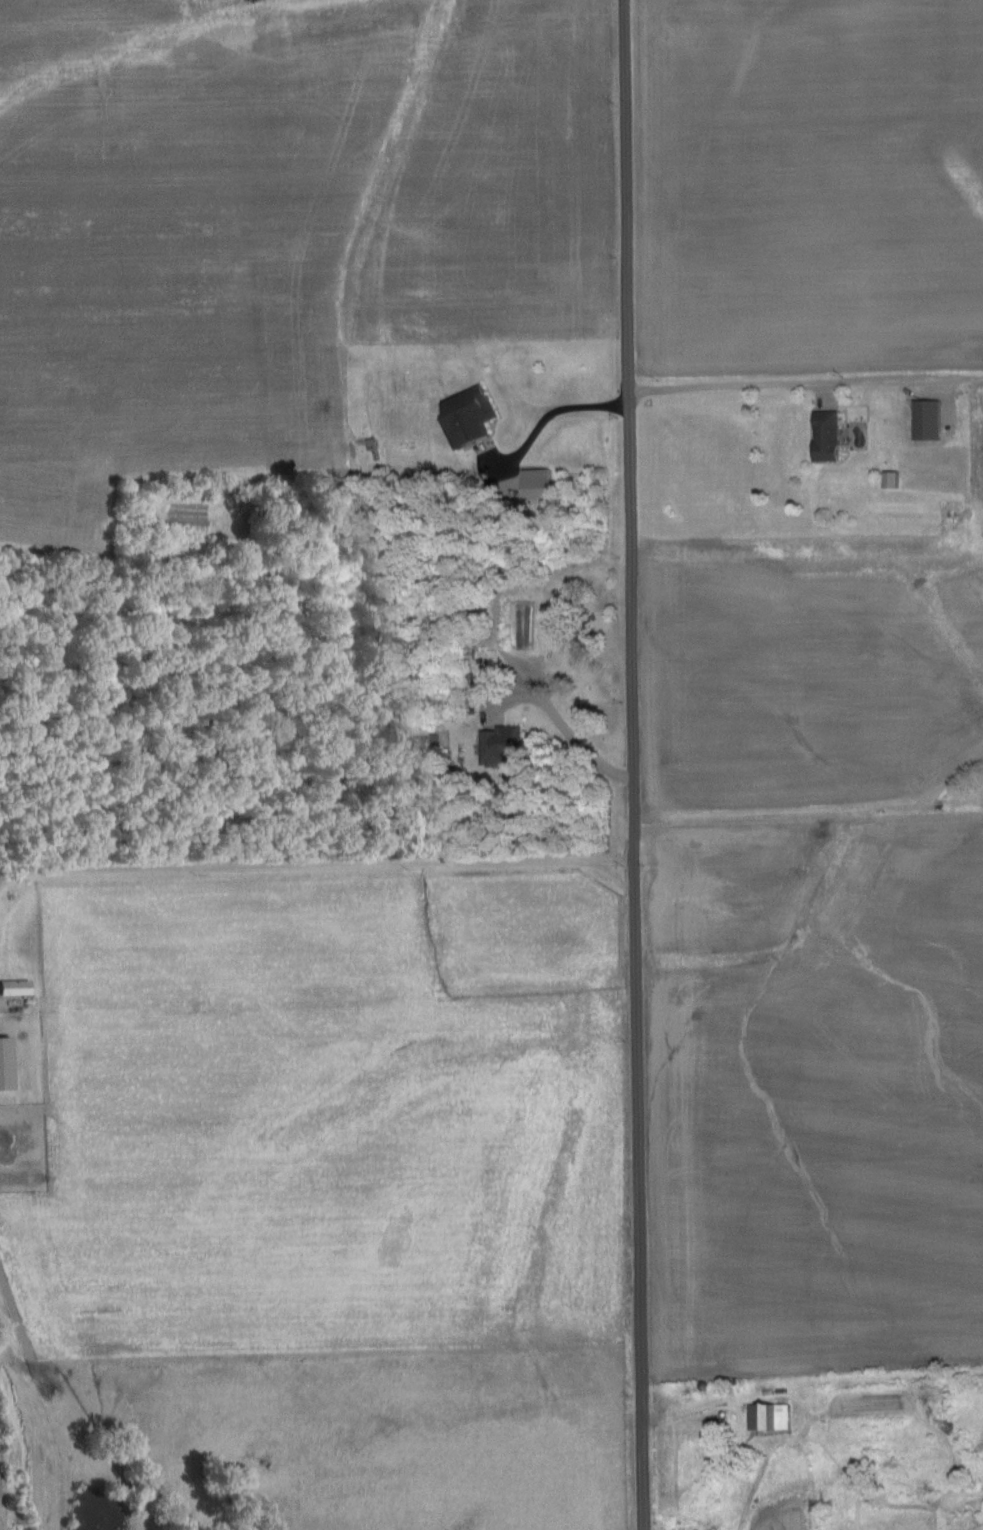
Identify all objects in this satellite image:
road: (727, 390)
building: (465, 415)
building: (927, 419)
building: (825, 435)
building: (372, 448)
road: (562, 735)
building: (498, 740)
road: (629, 765)
road: (313, 866)
building: (13, 988)
building: (3, 1065)
building: (768, 1417)

